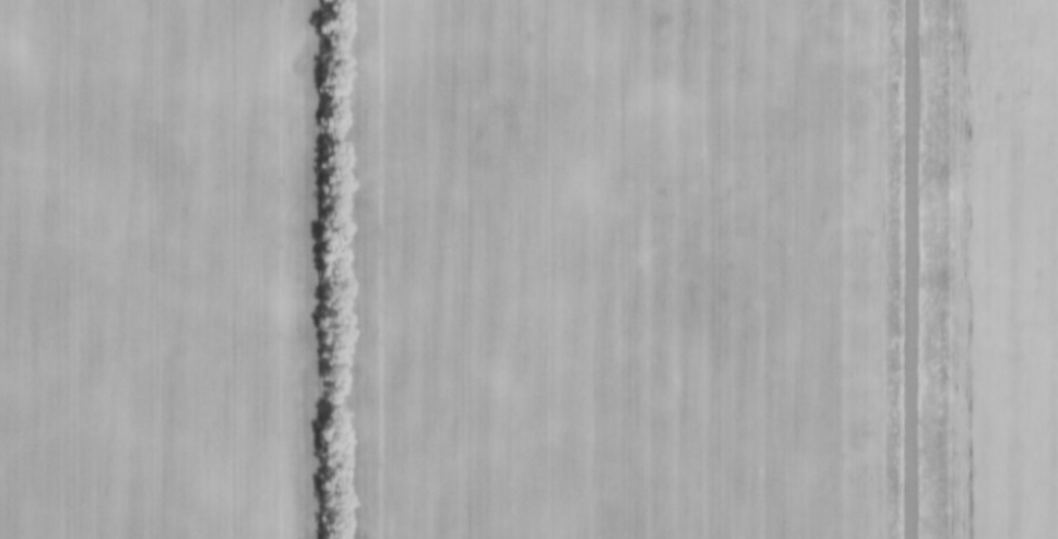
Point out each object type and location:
road: (912, 269)

